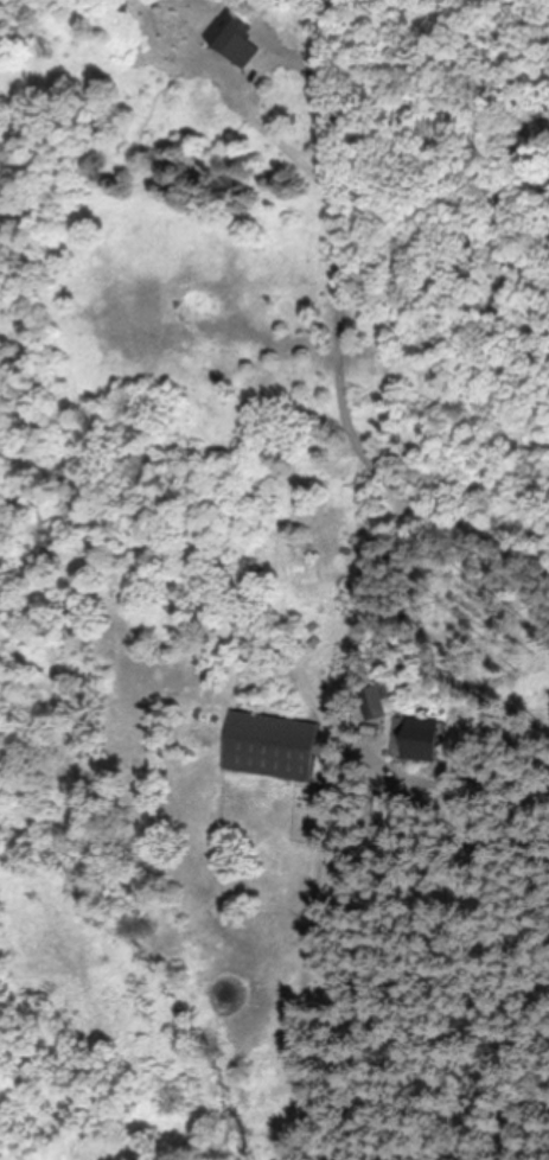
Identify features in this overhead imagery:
building: (117, 6)
building: (230, 39)
road: (343, 369)
building: (374, 702)
building: (420, 740)
building: (270, 747)

